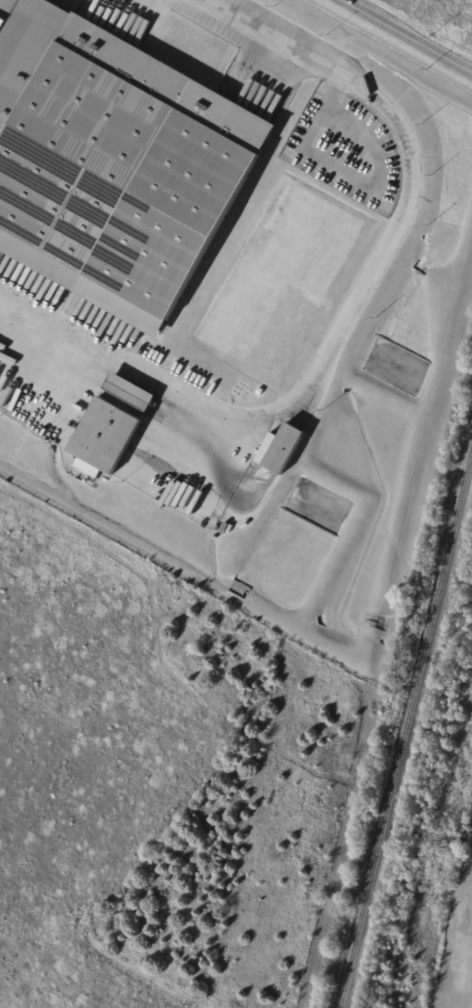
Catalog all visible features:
road: (406, 36)
road: (393, 43)
building: (114, 162)
road: (353, 307)
building: (261, 392)
building: (132, 393)
building: (105, 439)
building: (286, 450)
railway: (406, 732)

